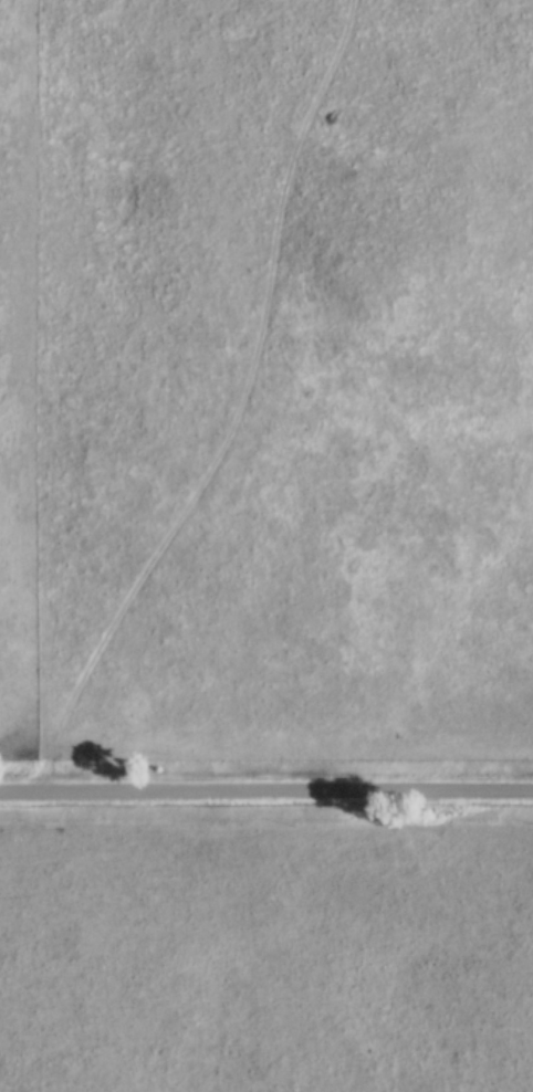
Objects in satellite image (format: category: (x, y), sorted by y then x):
road: (266, 800)

